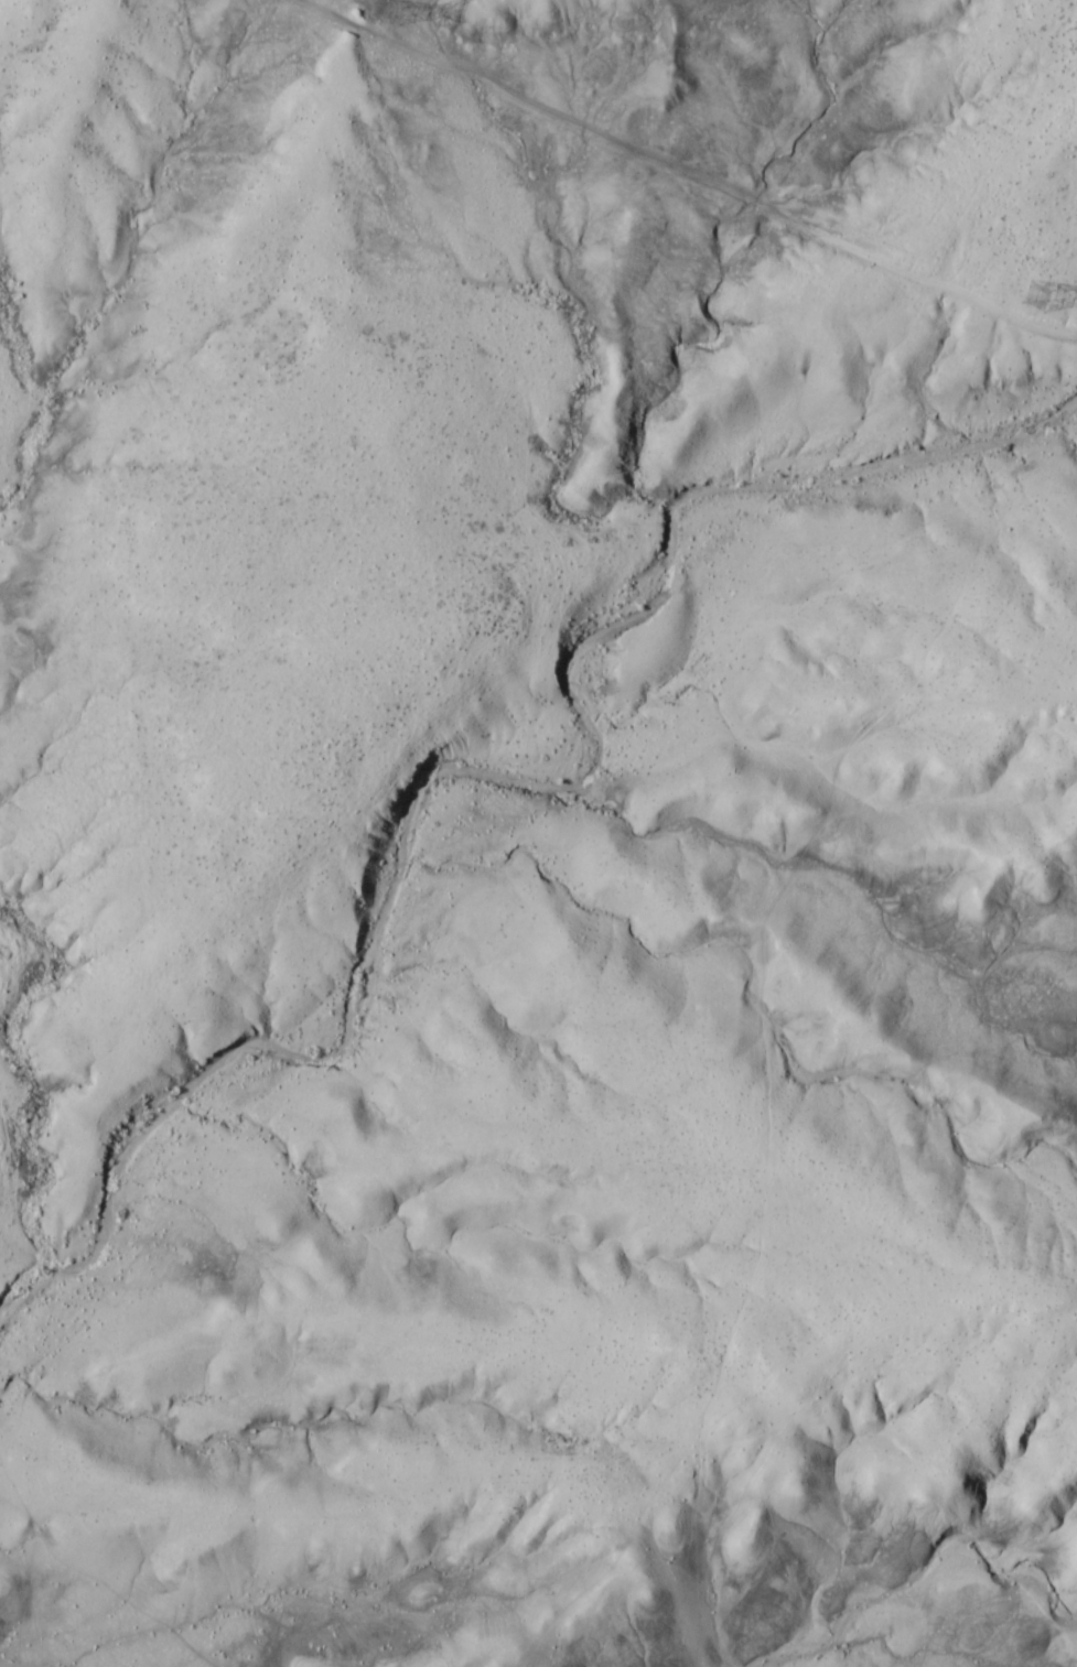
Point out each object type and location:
power tower: (1031, 281)

